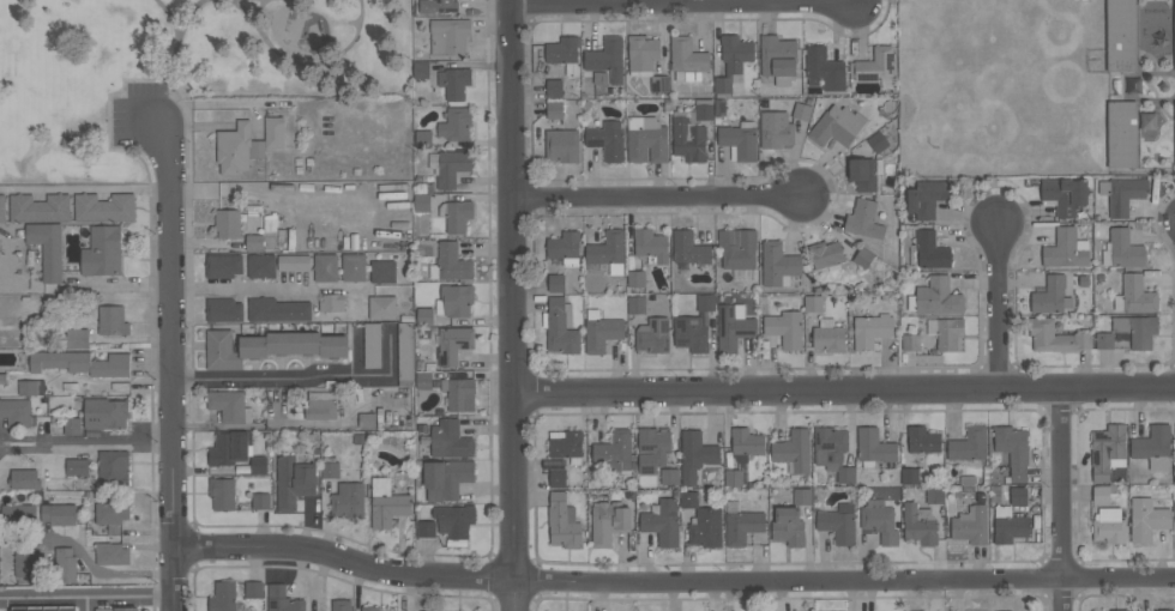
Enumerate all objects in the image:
road: (645, 1)
building: (438, 6)
road: (171, 13)
road: (253, 19)
building: (1174, 23)
building: (448, 36)
building: (1121, 36)
road: (177, 43)
building: (564, 53)
building: (643, 54)
building: (607, 58)
building: (687, 59)
building: (778, 59)
road: (320, 61)
building: (733, 61)
building: (874, 65)
building: (824, 68)
park: (180, 69)
building: (421, 71)
building: (454, 81)
building: (659, 83)
building: (554, 87)
building: (704, 109)
building: (555, 110)
building: (802, 111)
traffic signals: (157, 120)
building: (456, 125)
building: (837, 126)
building: (776, 129)
building: (273, 132)
building: (1122, 134)
building: (688, 135)
building: (607, 139)
building: (423, 140)
building: (646, 140)
building: (739, 140)
building: (878, 141)
building: (562, 145)
building: (237, 149)
building: (1174, 159)
building: (448, 167)
building: (863, 174)
road: (88, 187)
building: (1122, 194)
building: (1063, 195)
road: (658, 196)
building: (927, 198)
building: (422, 202)
building: (2, 207)
building: (104, 207)
building: (38, 208)
building: (458, 216)
building: (863, 219)
building: (227, 223)
building: (263, 236)
building: (651, 244)
building: (565, 247)
building: (48, 248)
building: (689, 248)
building: (737, 248)
building: (1125, 248)
building: (1065, 249)
building: (930, 250)
building: (102, 252)
building: (608, 252)
building: (826, 255)
building: (863, 258)
building: (294, 262)
building: (450, 262)
building: (778, 264)
building: (261, 265)
building: (223, 266)
building: (325, 267)
building: (354, 267)
building: (382, 271)
building: (635, 279)
building: (556, 283)
road: (193, 286)
building: (1052, 295)
building: (1134, 295)
building: (935, 297)
building: (454, 300)
building: (332, 302)
building: (705, 302)
building: (813, 303)
road: (518, 304)
building: (635, 304)
building: (382, 307)
road: (995, 308)
building: (277, 309)
building: (223, 310)
building: (424, 316)
building: (113, 320)
building: (560, 326)
building: (733, 327)
building: (785, 328)
building: (1137, 328)
building: (872, 329)
building: (601, 331)
building: (691, 333)
building: (948, 333)
building: (652, 335)
building: (828, 335)
building: (1055, 337)
building: (78, 338)
building: (1104, 340)
building: (911, 343)
building: (372, 345)
building: (453, 345)
building: (269, 346)
building: (405, 353)
building: (79, 363)
road: (175, 363)
road: (283, 377)
building: (423, 380)
building: (30, 387)
road: (846, 391)
building: (459, 393)
building: (229, 405)
building: (320, 405)
building: (16, 411)
building: (104, 413)
building: (367, 421)
road: (266, 424)
building: (72, 425)
road: (88, 440)
building: (450, 440)
building: (923, 440)
building: (566, 443)
building: (745, 443)
building: (969, 444)
building: (1153, 446)
building: (873, 447)
building: (230, 448)
building: (652, 449)
building: (1013, 449)
building: (1107, 449)
building: (794, 450)
building: (615, 452)
building: (833, 452)
building: (695, 455)
building: (258, 465)
building: (77, 466)
building: (113, 466)
building: (331, 470)
building: (910, 476)
building: (670, 477)
building: (734, 477)
building: (446, 478)
building: (558, 478)
building: (24, 479)
building: (294, 479)
building: (222, 494)
building: (1103, 494)
building: (934, 495)
building: (802, 496)
building: (1018, 496)
building: (688, 498)
building: (348, 500)
building: (260, 501)
road: (1061, 501)
building: (387, 503)
building: (112, 513)
building: (18, 514)
building: (59, 514)
building: (1146, 519)
building: (454, 520)
building: (879, 520)
building: (564, 521)
building: (609, 521)
building: (662, 522)
building: (838, 522)
building: (741, 524)
building: (920, 525)
building: (971, 525)
building: (1008, 525)
building: (788, 526)
building: (1109, 526)
building: (706, 527)
building: (426, 528)
building: (112, 553)
building: (24, 563)
building: (65, 564)
road: (674, 580)
building: (253, 589)
road: (89, 595)
building: (223, 597)
building: (282, 599)
building: (341, 605)
building: (126, 609)
building: (370, 609)
building: (43, 610)
building: (1163, 610)

